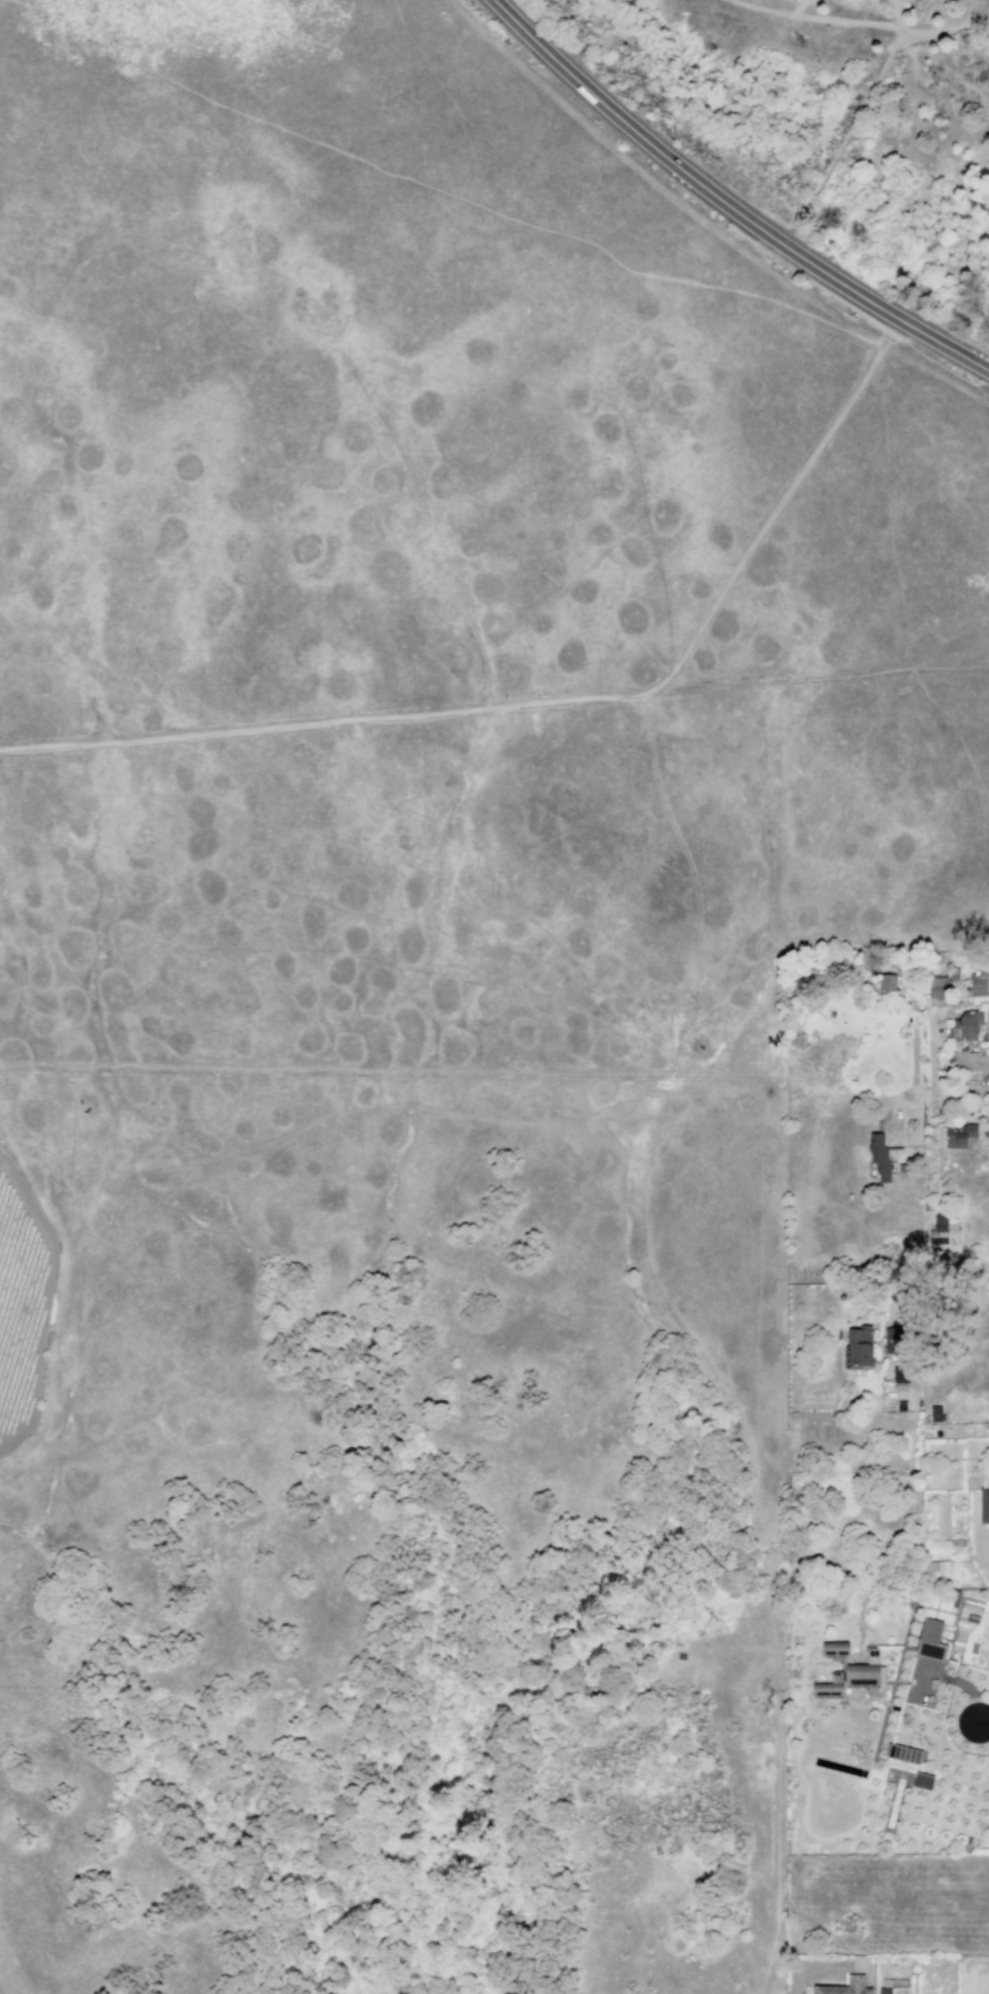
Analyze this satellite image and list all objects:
road: (5, 0)
road: (799, 7)
road: (811, 18)
road: (452, 104)
road: (865, 104)
road: (912, 110)
road: (440, 191)
road: (727, 204)
road: (926, 379)
road: (887, 384)
road: (908, 606)
road: (657, 699)
road: (550, 704)
building: (886, 984)
building: (978, 985)
building: (937, 987)
building: (966, 1026)
road: (931, 1049)
road: (914, 1054)
building: (969, 1061)
road: (951, 1088)
road: (298, 1130)
building: (960, 1134)
building: (879, 1157)
building: (902, 1167)
road: (629, 1176)
building: (940, 1222)
road: (52, 1227)
road: (939, 1282)
building: (894, 1339)
building: (859, 1345)
building: (901, 1373)
crop: (392, 1383)
building: (901, 1386)
building: (890, 1394)
road: (969, 1397)
road: (47, 1403)
building: (901, 1405)
building: (936, 1413)
building: (987, 1476)
building: (984, 1505)
building: (937, 1565)
building: (932, 1639)
building: (682, 1656)
building: (853, 1671)
road: (950, 1678)
road: (983, 1723)
building: (903, 1753)
building: (923, 1780)
road: (781, 1840)
building: (845, 1986)
building: (884, 1990)

